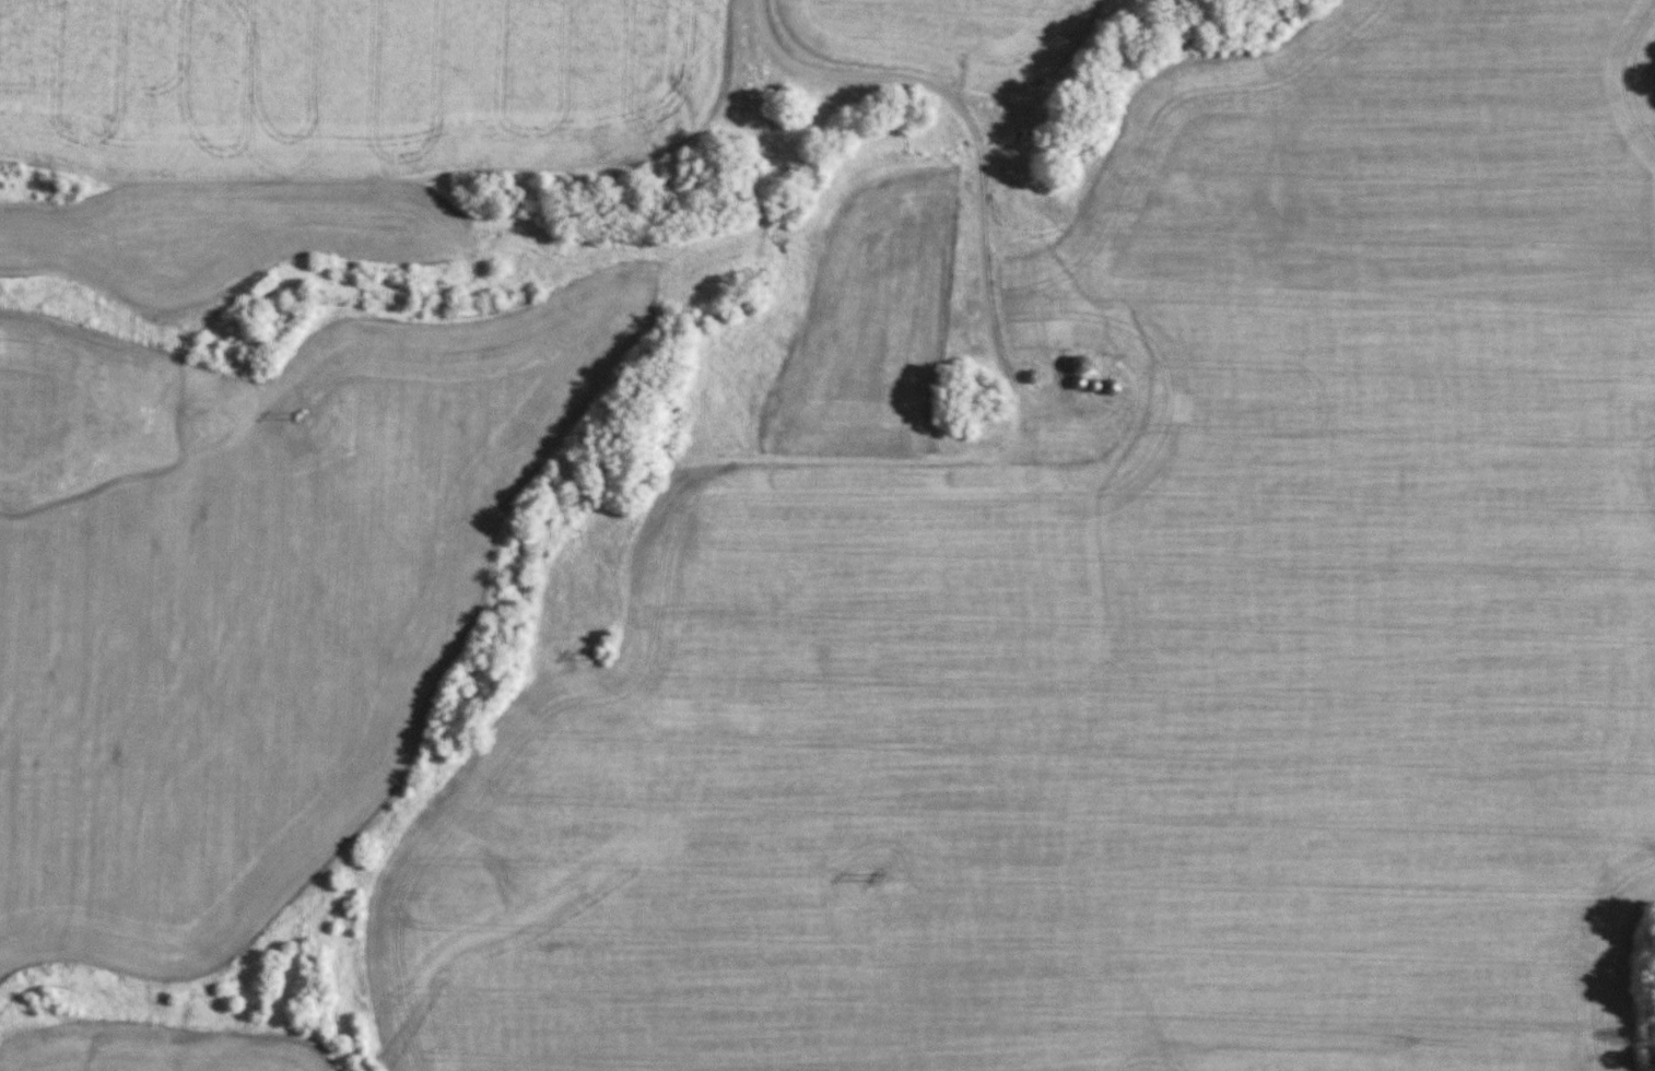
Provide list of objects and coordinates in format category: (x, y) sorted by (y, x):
road: (875, 75)

